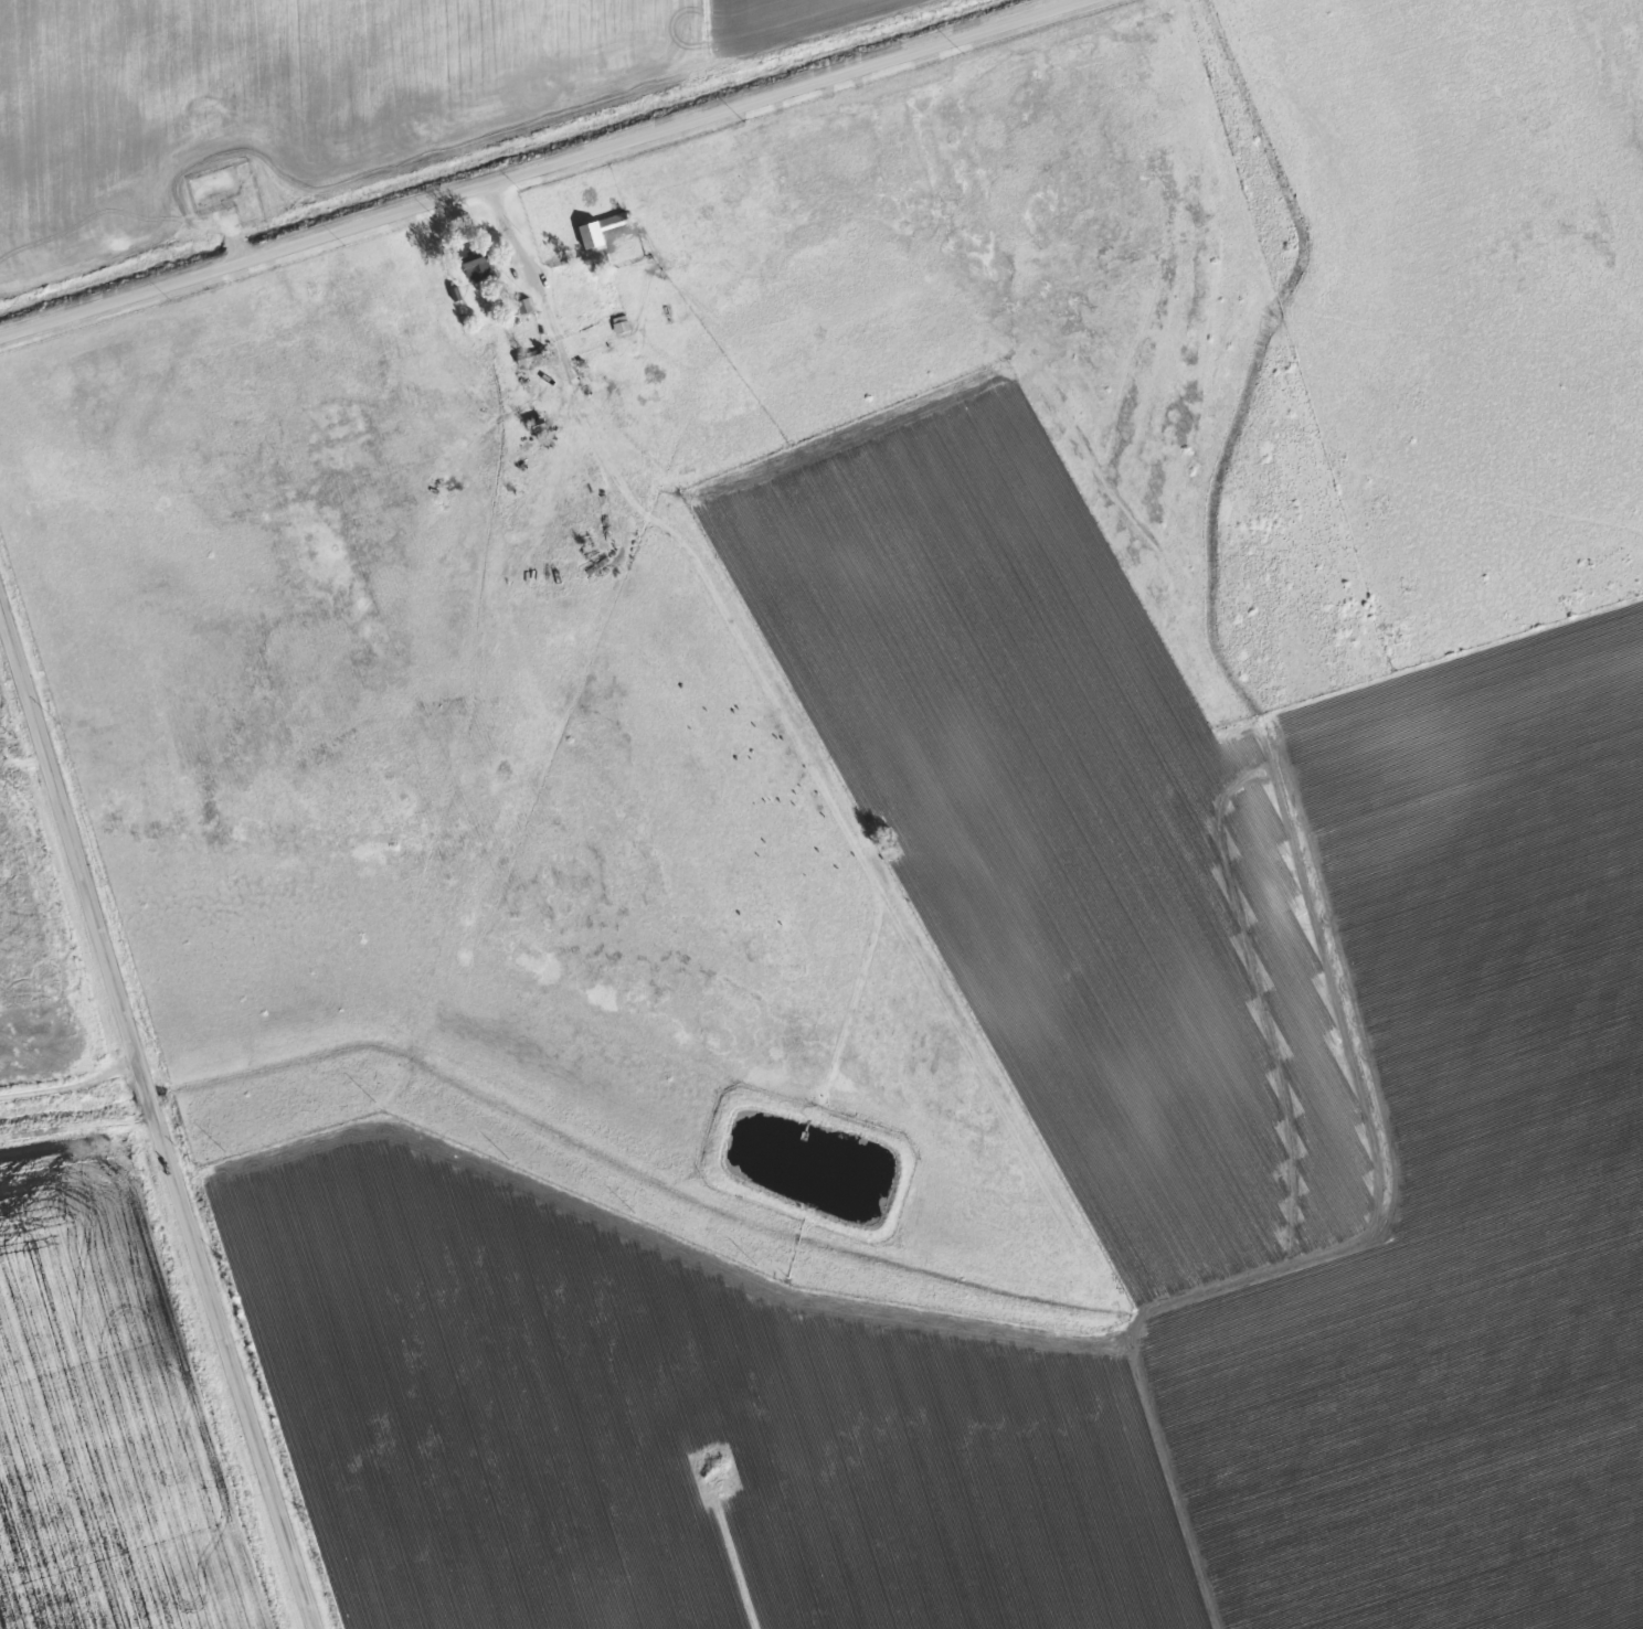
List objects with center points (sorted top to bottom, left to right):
road: (536, 167)
road: (517, 228)
building: (601, 232)
road: (237, 233)
building: (478, 266)
road: (73, 1094)
road: (160, 1124)

